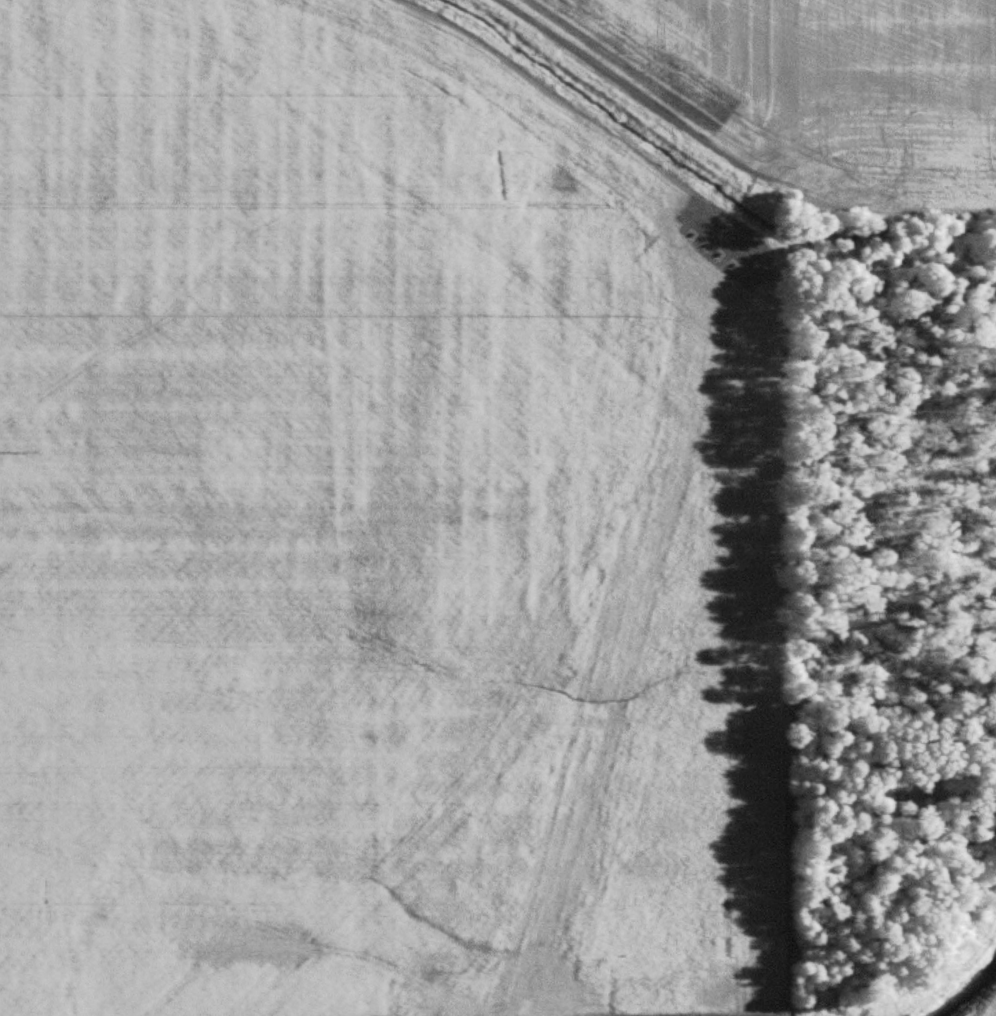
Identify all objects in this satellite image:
river: (969, 995)

